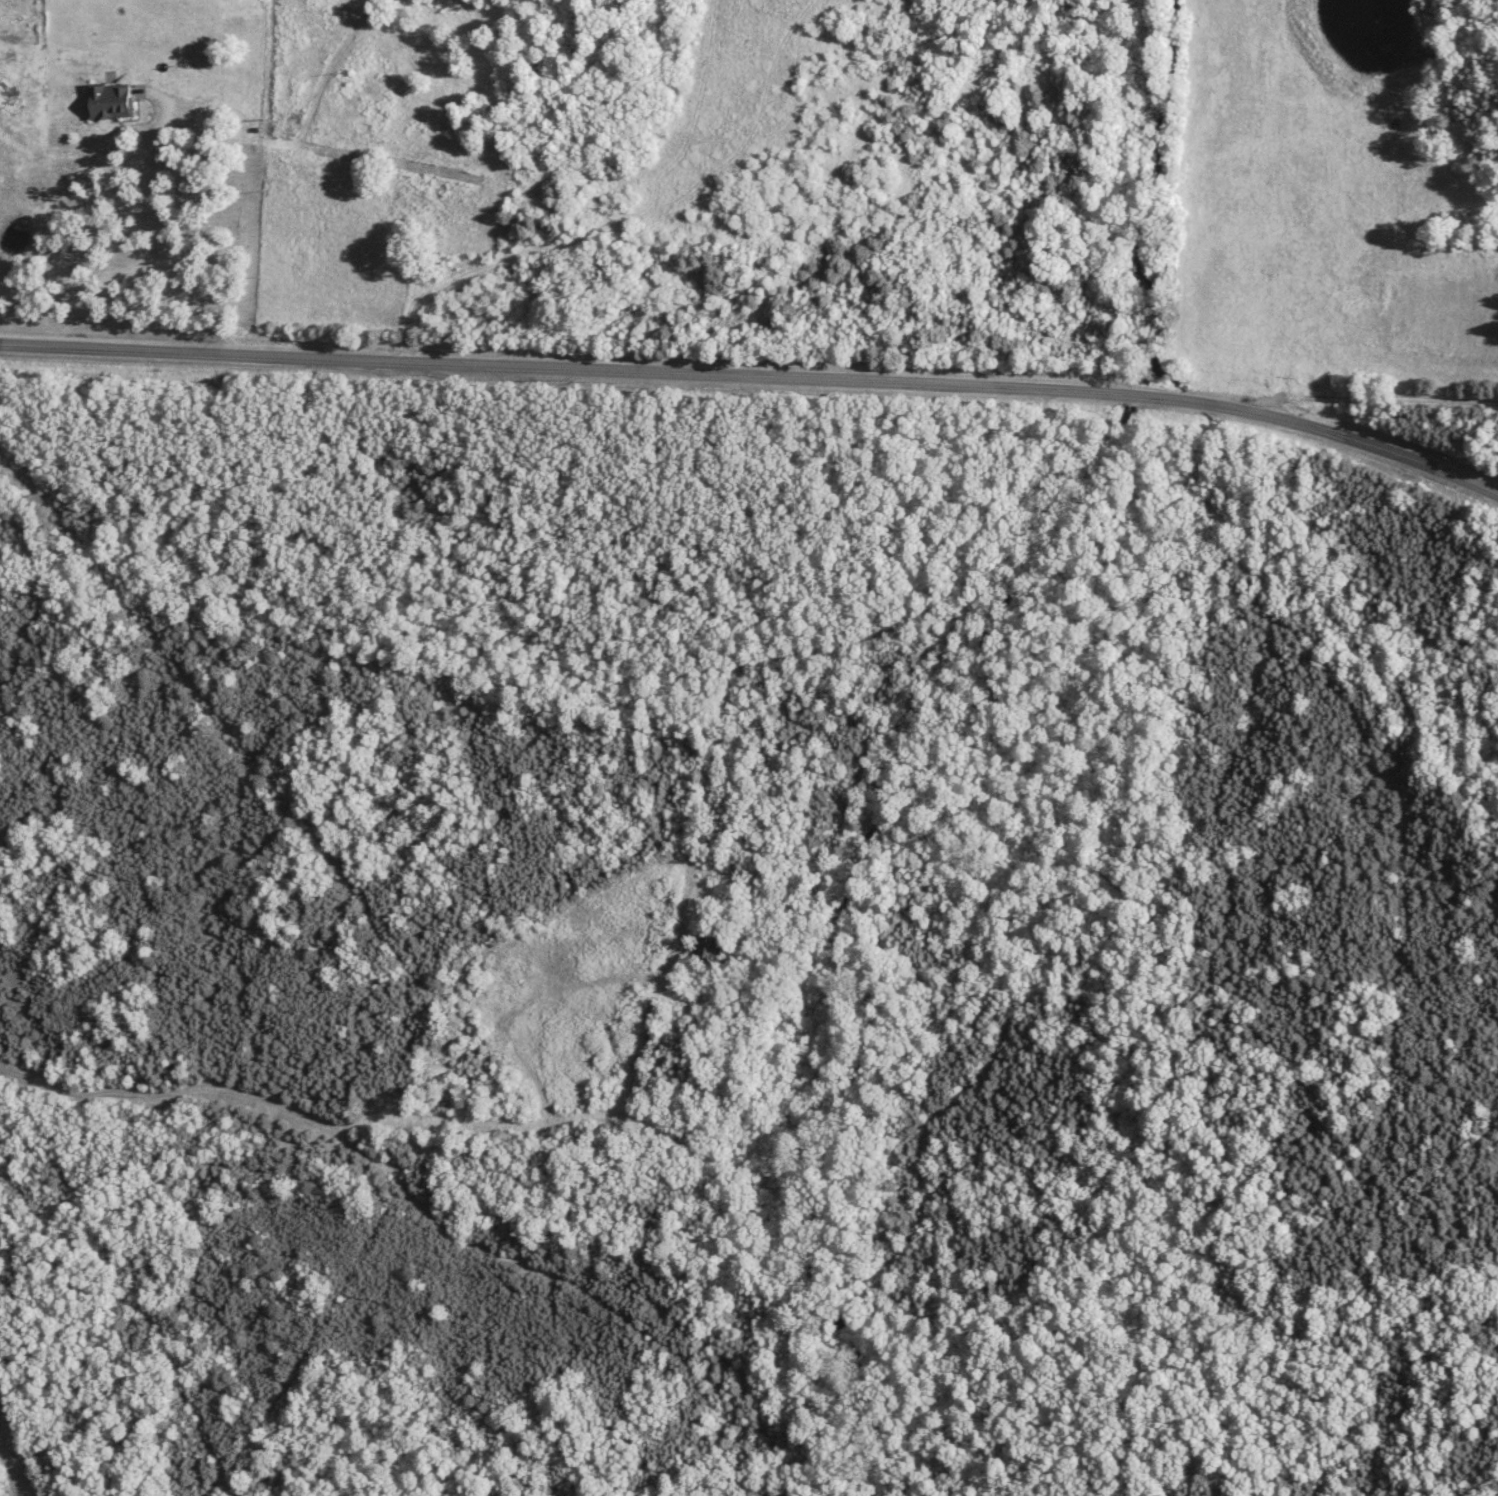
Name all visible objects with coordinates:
building: (115, 102)
road: (101, 201)
road: (519, 367)
road: (1109, 396)
road: (1343, 436)
road: (743, 735)
building: (722, 951)

